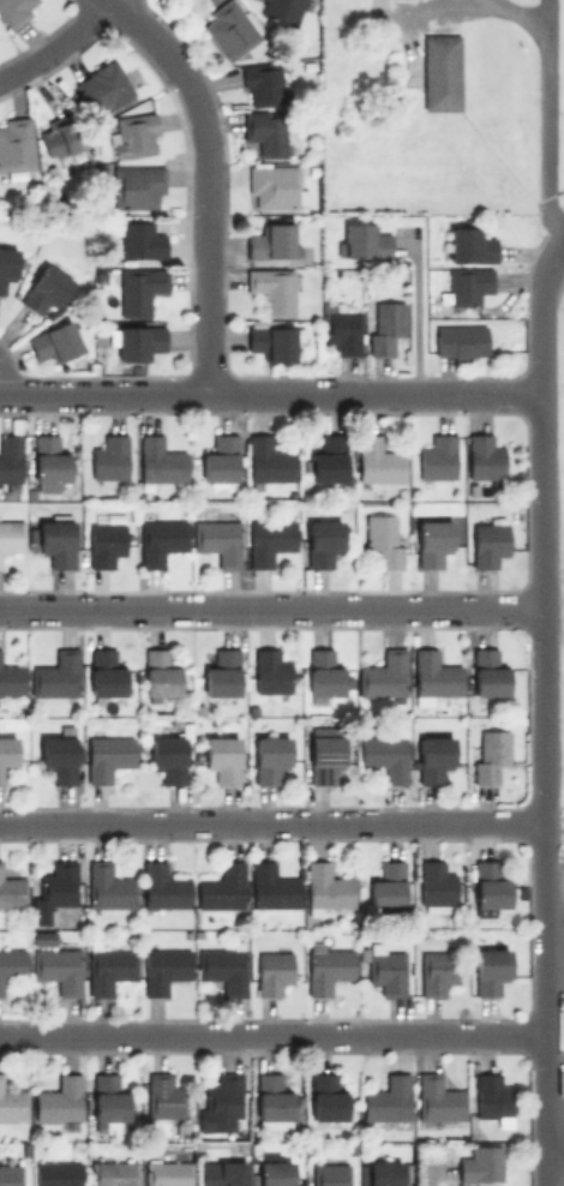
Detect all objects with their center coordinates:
building: (377, 2)
road: (451, 2)
building: (280, 10)
building: (16, 11)
building: (228, 29)
road: (68, 44)
building: (439, 72)
building: (262, 84)
building: (102, 86)
road: (546, 100)
building: (265, 131)
building: (132, 134)
building: (61, 138)
building: (16, 143)
road: (205, 185)
building: (275, 185)
building: (137, 187)
building: (140, 240)
building: (271, 240)
building: (361, 240)
road: (559, 241)
building: (468, 244)
building: (6, 264)
building: (466, 283)
building: (44, 288)
building: (271, 288)
building: (137, 289)
road: (416, 321)
building: (384, 325)
building: (342, 330)
building: (272, 340)
building: (460, 340)
building: (54, 341)
building: (134, 341)
road: (271, 395)
building: (10, 457)
building: (109, 457)
building: (437, 457)
building: (482, 457)
building: (220, 459)
building: (329, 459)
building: (160, 460)
building: (378, 460)
building: (269, 461)
building: (48, 463)
building: (11, 535)
building: (55, 538)
building: (383, 538)
building: (160, 539)
building: (218, 539)
building: (268, 540)
building: (322, 540)
building: (431, 541)
building: (487, 541)
building: (103, 543)
road: (544, 573)
road: (271, 607)
building: (269, 671)
building: (486, 671)
building: (104, 672)
building: (221, 672)
building: (55, 673)
building: (323, 673)
building: (383, 673)
building: (158, 675)
building: (432, 676)
building: (11, 678)
building: (6, 754)
building: (488, 754)
building: (107, 755)
building: (384, 755)
building: (324, 756)
building: (432, 756)
building: (59, 757)
building: (167, 757)
building: (222, 757)
building: (270, 757)
road: (274, 820)
building: (436, 883)
building: (488, 883)
building: (108, 886)
building: (220, 886)
building: (386, 886)
building: (163, 887)
building: (271, 887)
building: (326, 887)
building: (54, 888)
building: (11, 889)
building: (42, 938)
building: (11, 965)
building: (58, 968)
building: (108, 968)
building: (163, 968)
building: (221, 968)
building: (328, 968)
building: (385, 969)
building: (490, 970)
building: (271, 971)
building: (434, 971)
road: (275, 1036)
road: (551, 1043)
building: (162, 1095)
building: (107, 1096)
building: (491, 1096)
building: (325, 1097)
building: (437, 1097)
building: (12, 1101)
building: (59, 1101)
building: (386, 1101)
building: (272, 1102)
building: (221, 1103)
road: (557, 1155)
building: (480, 1167)
building: (58, 1173)
building: (113, 1173)
building: (168, 1173)
building: (221, 1173)
building: (274, 1173)
building: (384, 1173)
building: (10, 1174)
building: (329, 1174)

